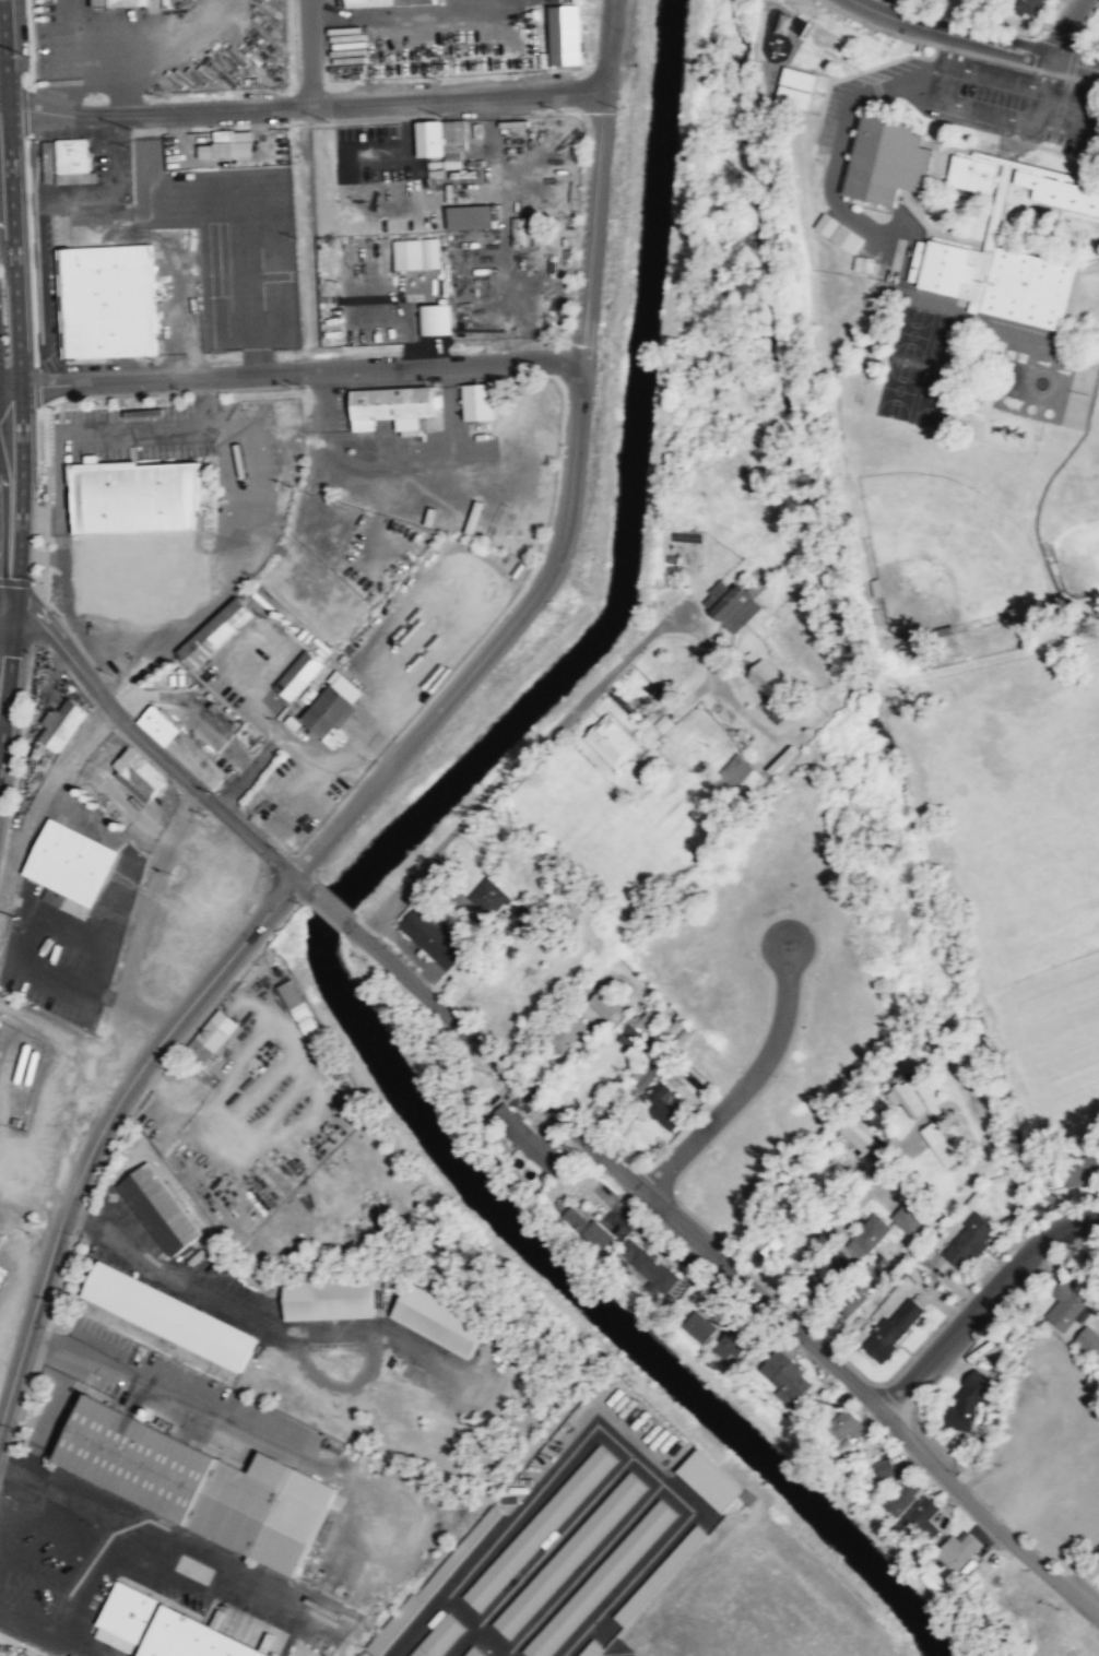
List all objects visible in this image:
building: (380, 1)
building: (113, 2)
building: (1024, 7)
road: (893, 15)
road: (1062, 31)
building: (565, 35)
building: (820, 37)
road: (1017, 40)
road: (607, 45)
road: (310, 51)
road: (3, 54)
road: (1015, 55)
road: (2, 72)
building: (795, 87)
road: (305, 104)
road: (3, 106)
building: (441, 138)
building: (223, 144)
building: (74, 154)
building: (886, 159)
building: (967, 174)
building: (1056, 190)
building: (471, 216)
building: (834, 232)
building: (415, 253)
building: (875, 271)
building: (993, 281)
building: (110, 300)
building: (433, 319)
road: (20, 359)
road: (291, 376)
building: (478, 401)
building: (391, 406)
building: (140, 494)
road: (564, 529)
building: (731, 605)
traffic signals: (15, 613)
building: (215, 634)
road: (63, 647)
building: (298, 675)
road: (10, 682)
building: (770, 685)
building: (332, 708)
building: (61, 723)
building: (612, 741)
building: (182, 747)
road: (521, 771)
building: (138, 773)
building: (742, 779)
road: (43, 799)
road: (233, 821)
crop: (1017, 855)
building: (69, 863)
building: (487, 896)
building: (433, 935)
building: (606, 1007)
building: (303, 1014)
building: (635, 1030)
building: (569, 1032)
building: (210, 1040)
building: (642, 1077)
road: (747, 1085)
building: (906, 1099)
building: (662, 1104)
building: (875, 1113)
road: (103, 1128)
building: (856, 1136)
building: (525, 1137)
building: (938, 1144)
building: (1080, 1169)
building: (827, 1174)
building: (159, 1208)
building: (909, 1216)
building: (586, 1228)
building: (867, 1237)
building: (969, 1241)
building: (771, 1245)
building: (839, 1259)
building: (649, 1268)
road: (731, 1270)
building: (815, 1285)
building: (328, 1298)
road: (983, 1302)
building: (850, 1304)
building: (1065, 1305)
building: (168, 1316)
building: (438, 1318)
building: (697, 1326)
building: (894, 1329)
building: (1088, 1340)
building: (732, 1345)
building: (784, 1377)
road: (62, 1388)
building: (967, 1400)
building: (848, 1427)
building: (883, 1470)
road: (548, 1475)
building: (709, 1481)
building: (198, 1483)
road: (663, 1483)
building: (902, 1497)
building: (922, 1518)
building: (539, 1527)
building: (958, 1550)
road: (103, 1554)
road: (540, 1554)
building: (1097, 1554)
building: (568, 1556)
building: (659, 1575)
building: (434, 1580)
building: (600, 1580)
road: (447, 1599)
building: (168, 1628)
building: (436, 1636)
building: (590, 1648)
road: (610, 1648)
building: (472, 1652)
building: (358, 1655)

